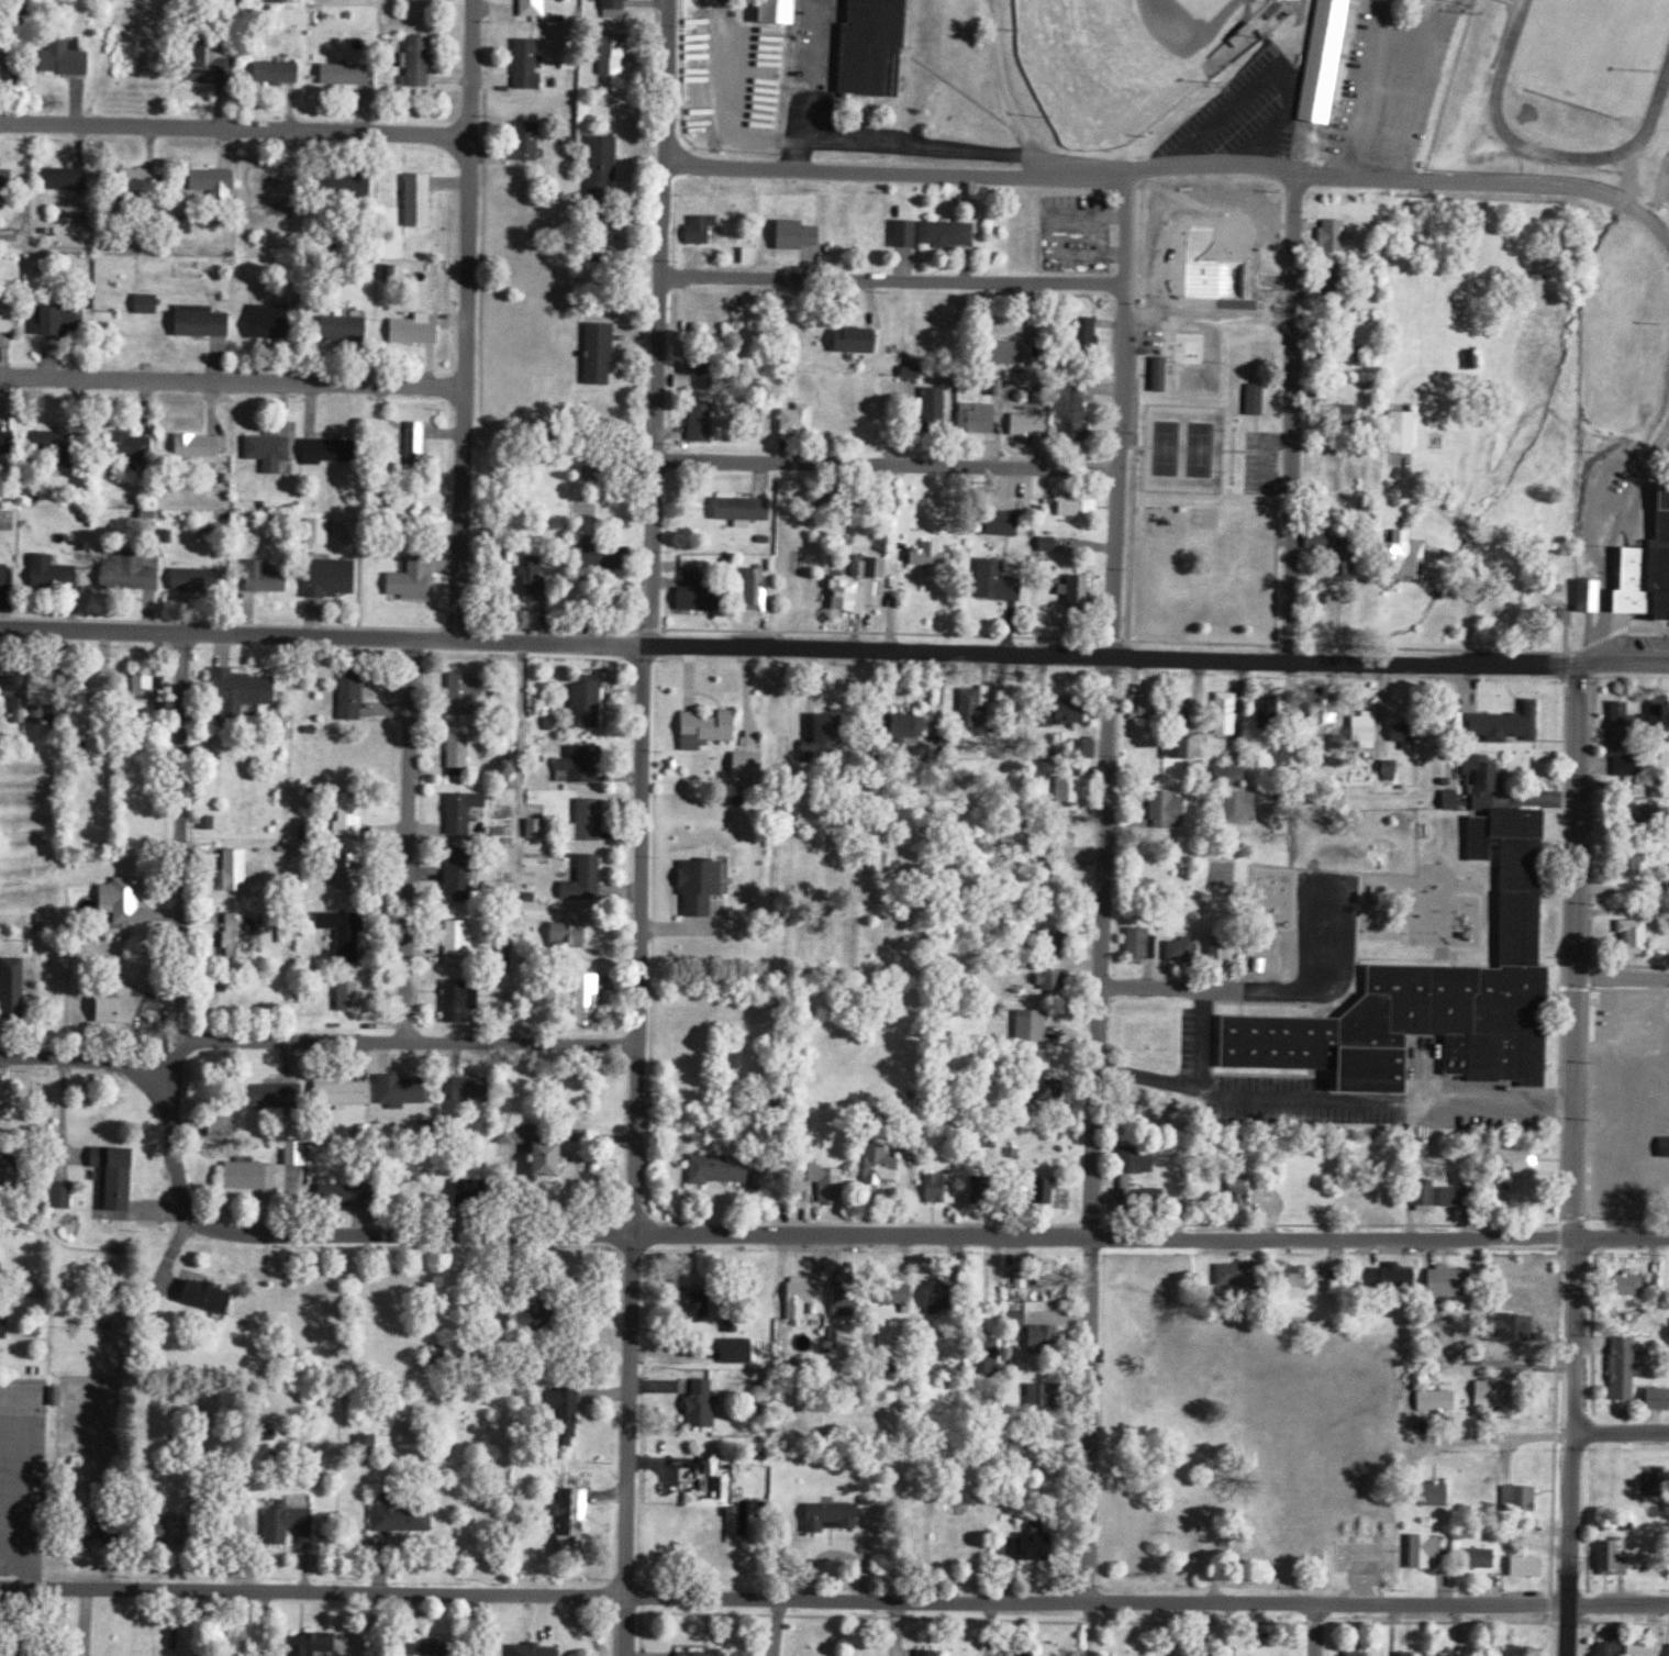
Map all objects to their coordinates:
building: (537, 8)
building: (1245, 33)
building: (876, 46)
park: (1123, 58)
building: (73, 60)
building: (1325, 60)
building: (422, 63)
road: (1422, 64)
building: (532, 65)
building: (7, 67)
building: (219, 69)
building: (283, 73)
building: (351, 74)
road: (799, 85)
road: (1367, 89)
road: (1005, 95)
road: (234, 126)
building: (536, 151)
road: (1173, 166)
building: (9, 178)
building: (70, 179)
building: (221, 184)
building: (423, 200)
building: (802, 234)
building: (1335, 235)
building: (1167, 280)
road: (894, 281)
building: (151, 303)
building: (10, 320)
road: (466, 320)
building: (67, 321)
building: (276, 322)
road: (657, 322)
building: (209, 324)
building: (352, 330)
building: (422, 330)
building: (1342, 349)
building: (604, 354)
building: (1161, 373)
road: (233, 380)
building: (1257, 398)
building: (1345, 413)
road: (1124, 415)
road: (1289, 416)
building: (803, 419)
building: (1404, 431)
building: (9, 443)
building: (421, 443)
building: (202, 446)
park: (1184, 447)
building: (335, 451)
building: (272, 452)
road: (888, 466)
building: (324, 532)
road: (1610, 535)
building: (1320, 538)
building: (1404, 555)
building: (1656, 564)
building: (1344, 567)
building: (881, 568)
building: (134, 573)
building: (7, 574)
building: (56, 574)
building: (537, 576)
building: (272, 578)
building: (200, 579)
building: (416, 581)
building: (1627, 581)
building: (1592, 593)
building: (1558, 616)
road: (318, 636)
road: (643, 645)
road: (1159, 658)
building: (154, 683)
building: (470, 683)
building: (248, 691)
building: (591, 692)
building: (505, 701)
building: (354, 702)
building: (1143, 705)
building: (1183, 710)
building: (1327, 710)
building: (1230, 712)
building: (58, 715)
building: (1505, 723)
building: (1659, 723)
building: (1367, 727)
building: (714, 730)
road: (180, 734)
building: (1404, 734)
building: (1626, 737)
building: (463, 754)
building: (1392, 766)
building: (1484, 778)
building: (1453, 798)
building: (1240, 803)
building: (1168, 809)
building: (467, 812)
building: (1640, 813)
building: (353, 819)
building: (590, 824)
building: (541, 829)
building: (509, 836)
road: (407, 842)
building: (1633, 863)
building: (241, 870)
building: (354, 875)
building: (1506, 876)
building: (464, 877)
building: (590, 879)
building: (131, 901)
building: (349, 933)
building: (556, 933)
building: (246, 934)
building: (464, 942)
building: (1145, 943)
building: (1182, 948)
building: (1220, 952)
road: (1622, 976)
building: (16, 985)
road: (1146, 989)
road: (1318, 993)
building: (353, 994)
building: (122, 1008)
building: (1036, 1027)
building: (1416, 1027)
road: (394, 1044)
road: (78, 1058)
building: (476, 1089)
building: (404, 1092)
building: (347, 1093)
building: (282, 1096)
building: (11, 1103)
road: (1339, 1109)
road: (1092, 1131)
building: (1665, 1146)
road: (634, 1149)
building: (556, 1158)
building: (1138, 1159)
road: (1572, 1160)
building: (1516, 1162)
building: (298, 1163)
building: (705, 1169)
building: (12, 1170)
building: (122, 1175)
building: (254, 1176)
building: (475, 1188)
building: (1426, 1192)
building: (1498, 1193)
building: (1238, 1194)
building: (67, 1196)
building: (1454, 1196)
road: (789, 1237)
road: (1620, 1237)
building: (1, 1259)
building: (1236, 1274)
building: (1294, 1276)
building: (1397, 1276)
building: (1447, 1281)
building: (1629, 1283)
building: (213, 1296)
building: (806, 1297)
building: (5, 1324)
building: (1511, 1325)
building: (1624, 1366)
building: (1491, 1388)
building: (1657, 1397)
building: (1438, 1399)
building: (706, 1404)
road: (1621, 1435)
road: (1493, 1440)
building: (370, 1444)
building: (715, 1486)
building: (102, 1492)
building: (1431, 1492)
building: (1522, 1497)
building: (405, 1514)
building: (836, 1516)
building: (578, 1520)
building: (294, 1523)
building: (1423, 1548)
building: (1479, 1556)
building: (1613, 1556)
building: (1526, 1564)
road: (834, 1601)
road: (81, 1622)
road: (1230, 1630)
road: (1313, 1630)
road: (1090, 1631)
building: (318, 1644)
building: (1610, 1648)
building: (1645, 1648)
building: (539, 1649)
building: (932, 1653)
building: (706, 1654)
building: (1516, 1654)
building: (1358, 1655)
building: (1404, 1655)

